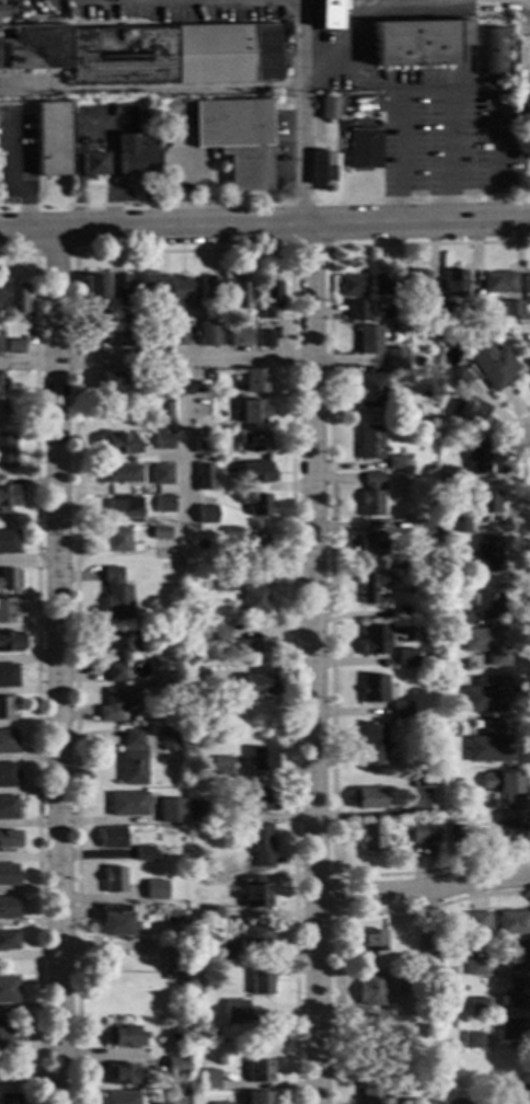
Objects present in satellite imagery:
building: (2, 11)
building: (327, 14)
road: (370, 18)
building: (417, 42)
building: (491, 51)
building: (145, 54)
building: (519, 55)
road: (151, 90)
road: (445, 93)
building: (526, 99)
building: (355, 101)
building: (327, 108)
road: (303, 113)
building: (352, 118)
building: (50, 139)
building: (12, 140)
building: (235, 140)
building: (138, 147)
building: (362, 149)
road: (449, 159)
building: (91, 160)
building: (527, 168)
building: (320, 170)
road: (344, 227)
road: (79, 232)
road: (308, 248)
road: (182, 251)
road: (51, 254)
building: (498, 283)
building: (150, 284)
building: (453, 284)
building: (527, 284)
building: (383, 285)
building: (352, 286)
building: (92, 288)
building: (209, 288)
building: (418, 288)
building: (116, 289)
building: (178, 290)
building: (239, 295)
building: (15, 299)
building: (267, 299)
building: (512, 309)
building: (356, 310)
building: (471, 310)
building: (397, 313)
building: (417, 315)
building: (438, 315)
building: (128, 320)
building: (223, 324)
building: (92, 329)
building: (176, 334)
building: (206, 336)
building: (124, 338)
building: (146, 338)
building: (238, 338)
building: (265, 340)
building: (368, 340)
building: (0, 343)
building: (12, 347)
building: (528, 357)
building: (395, 358)
road: (342, 361)
road: (157, 363)
building: (492, 365)
building: (457, 379)
building: (110, 382)
building: (149, 382)
building: (254, 382)
building: (1, 384)
building: (371, 391)
building: (425, 394)
building: (469, 411)
building: (1, 412)
building: (406, 412)
building: (252, 413)
building: (161, 417)
building: (206, 423)
building: (443, 433)
building: (253, 441)
building: (369, 441)
building: (163, 442)
building: (117, 445)
building: (201, 446)
building: (7, 452)
building: (476, 458)
road: (182, 460)
building: (394, 463)
building: (119, 473)
building: (255, 473)
building: (160, 474)
building: (204, 478)
building: (450, 478)
building: (370, 496)
building: (8, 498)
building: (163, 505)
building: (255, 505)
building: (485, 506)
building: (124, 507)
building: (206, 515)
building: (459, 525)
building: (230, 532)
building: (419, 532)
building: (160, 534)
building: (117, 540)
building: (8, 542)
building: (372, 545)
building: (254, 547)
building: (487, 555)
road: (330, 560)
road: (523, 570)
building: (469, 576)
building: (8, 579)
building: (224, 586)
building: (371, 587)
building: (115, 595)
building: (253, 600)
building: (487, 600)
building: (5, 610)
building: (400, 612)
building: (460, 618)
building: (217, 633)
building: (375, 640)
building: (11, 642)
building: (486, 645)
building: (254, 646)
building: (118, 651)
building: (406, 658)
road: (36, 663)
road: (315, 665)
building: (464, 665)
road: (56, 668)
building: (8, 677)
building: (177, 677)
building: (199, 678)
building: (258, 686)
building: (372, 689)
building: (176, 690)
building: (486, 695)
building: (117, 704)
building: (5, 709)
building: (401, 709)
building: (170, 741)
building: (8, 743)
building: (373, 743)
building: (488, 744)
building: (132, 759)
building: (260, 759)
building: (221, 766)
building: (8, 775)
building: (422, 780)
building: (507, 789)
building: (367, 798)
building: (256, 800)
building: (127, 804)
building: (8, 808)
building: (197, 810)
building: (168, 814)
building: (512, 831)
building: (425, 832)
building: (458, 835)
building: (371, 837)
building: (112, 838)
building: (9, 839)
building: (261, 846)
building: (143, 853)
building: (9, 876)
building: (113, 879)
building: (154, 889)
building: (253, 893)
road: (424, 893)
road: (332, 896)
building: (9, 908)
road: (336, 912)
building: (210, 913)
building: (114, 920)
building: (476, 922)
building: (512, 923)
building: (255, 934)
building: (8, 940)
building: (369, 941)
building: (429, 944)
building: (458, 948)
building: (223, 952)
building: (517, 955)
building: (170, 962)
building: (475, 967)
building: (403, 984)
building: (260, 988)
building: (369, 989)
building: (8, 990)
building: (518, 994)
building: (477, 1008)
building: (244, 1012)
building: (514, 1030)
building: (4, 1037)
building: (124, 1037)
building: (175, 1039)
building: (472, 1040)
building: (175, 1066)
building: (258, 1071)
road: (30, 1074)
building: (120, 1074)
park: (25, 1076)
building: (208, 1080)
building: (372, 1091)
building: (512, 1094)
building: (118, 1097)
building: (260, 1097)
building: (10, 1099)
building: (454, 1101)
building: (410, 1102)
building: (220, 1103)

